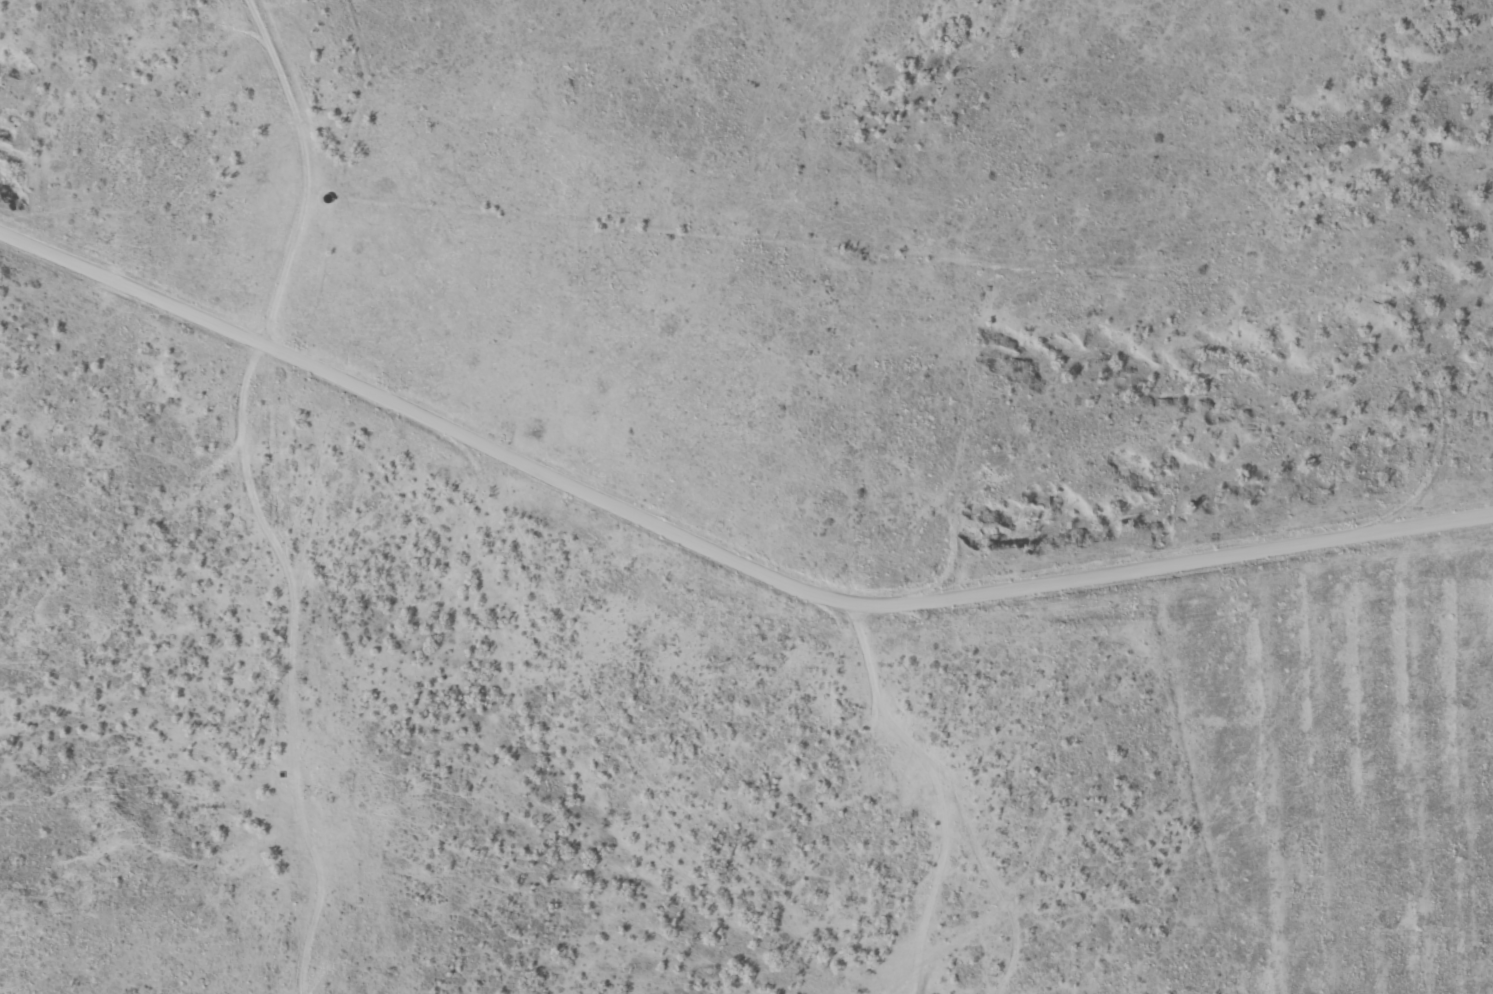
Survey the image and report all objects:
road: (298, 160)
road: (718, 526)

